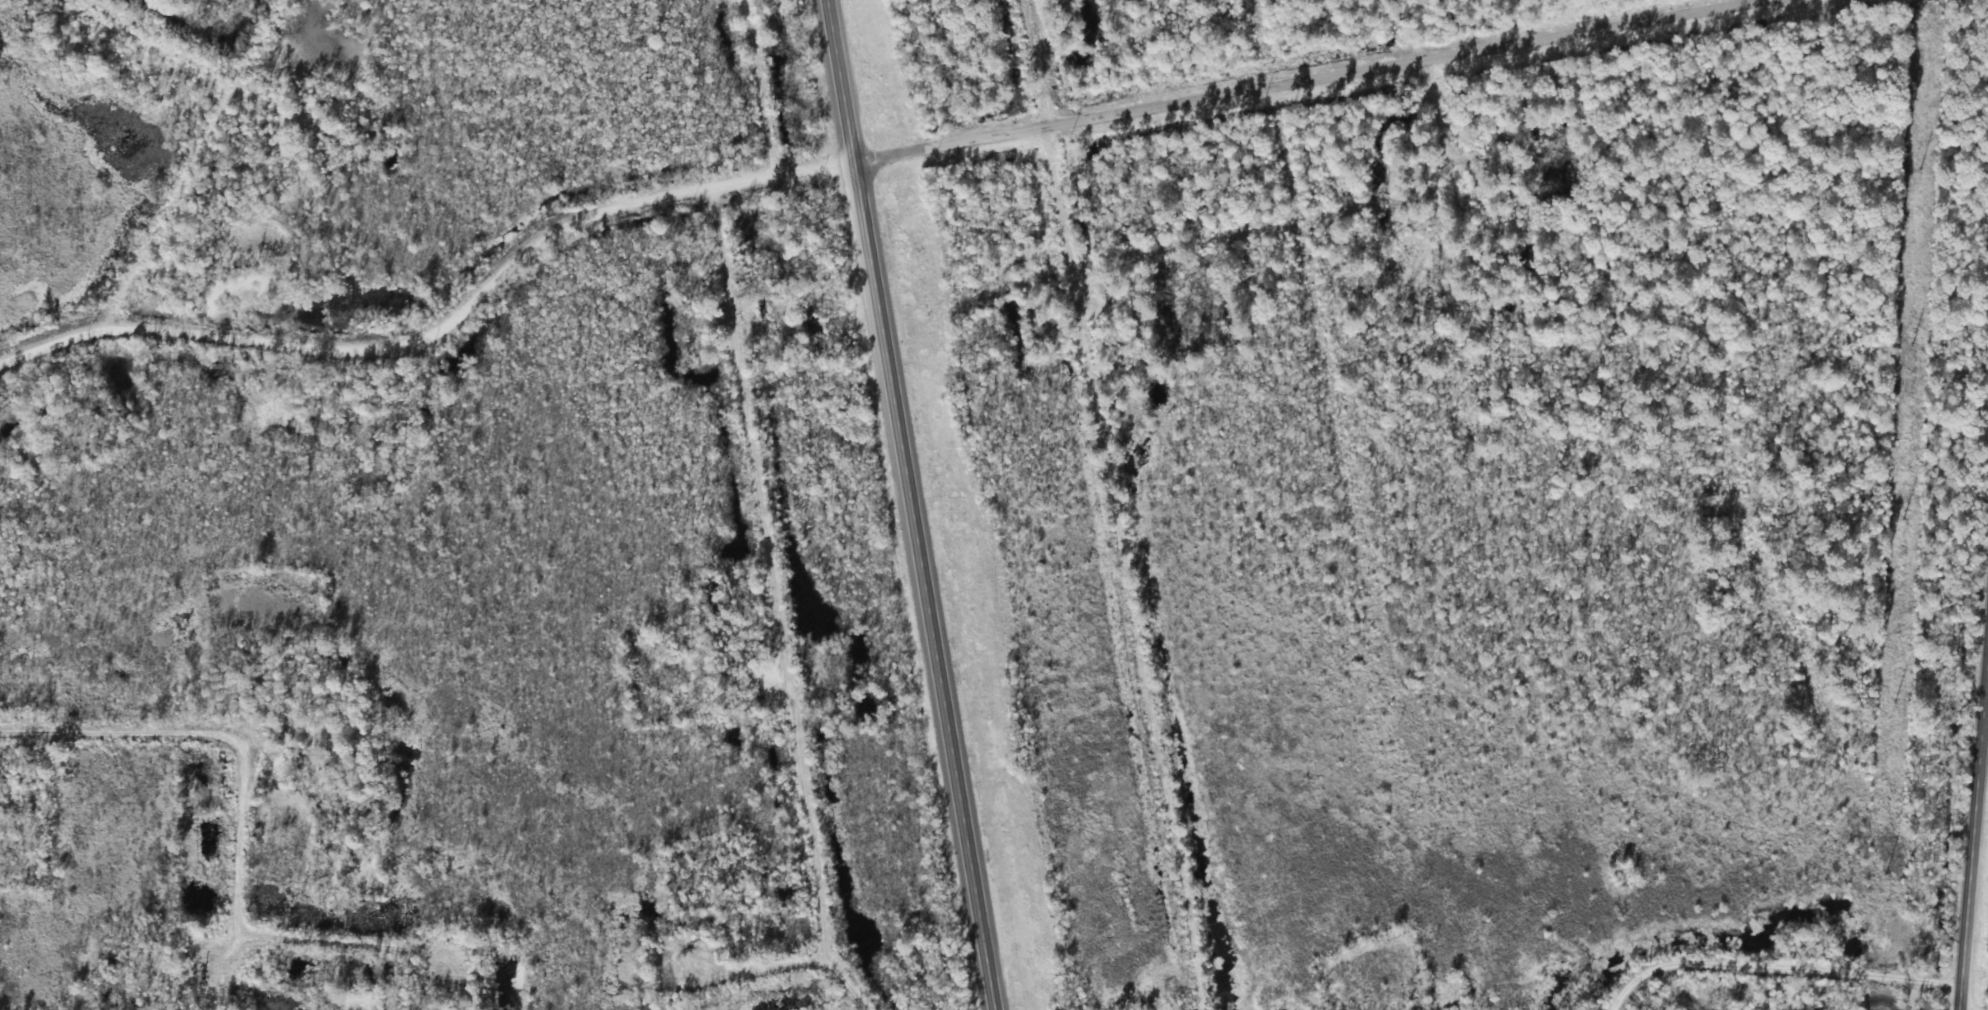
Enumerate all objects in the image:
road: (133, 53)
road: (1300, 74)
road: (1407, 114)
road: (1059, 168)
road: (152, 207)
road: (479, 299)
road: (915, 505)
road: (769, 602)
road: (251, 816)
road: (1972, 821)
road: (1780, 981)

